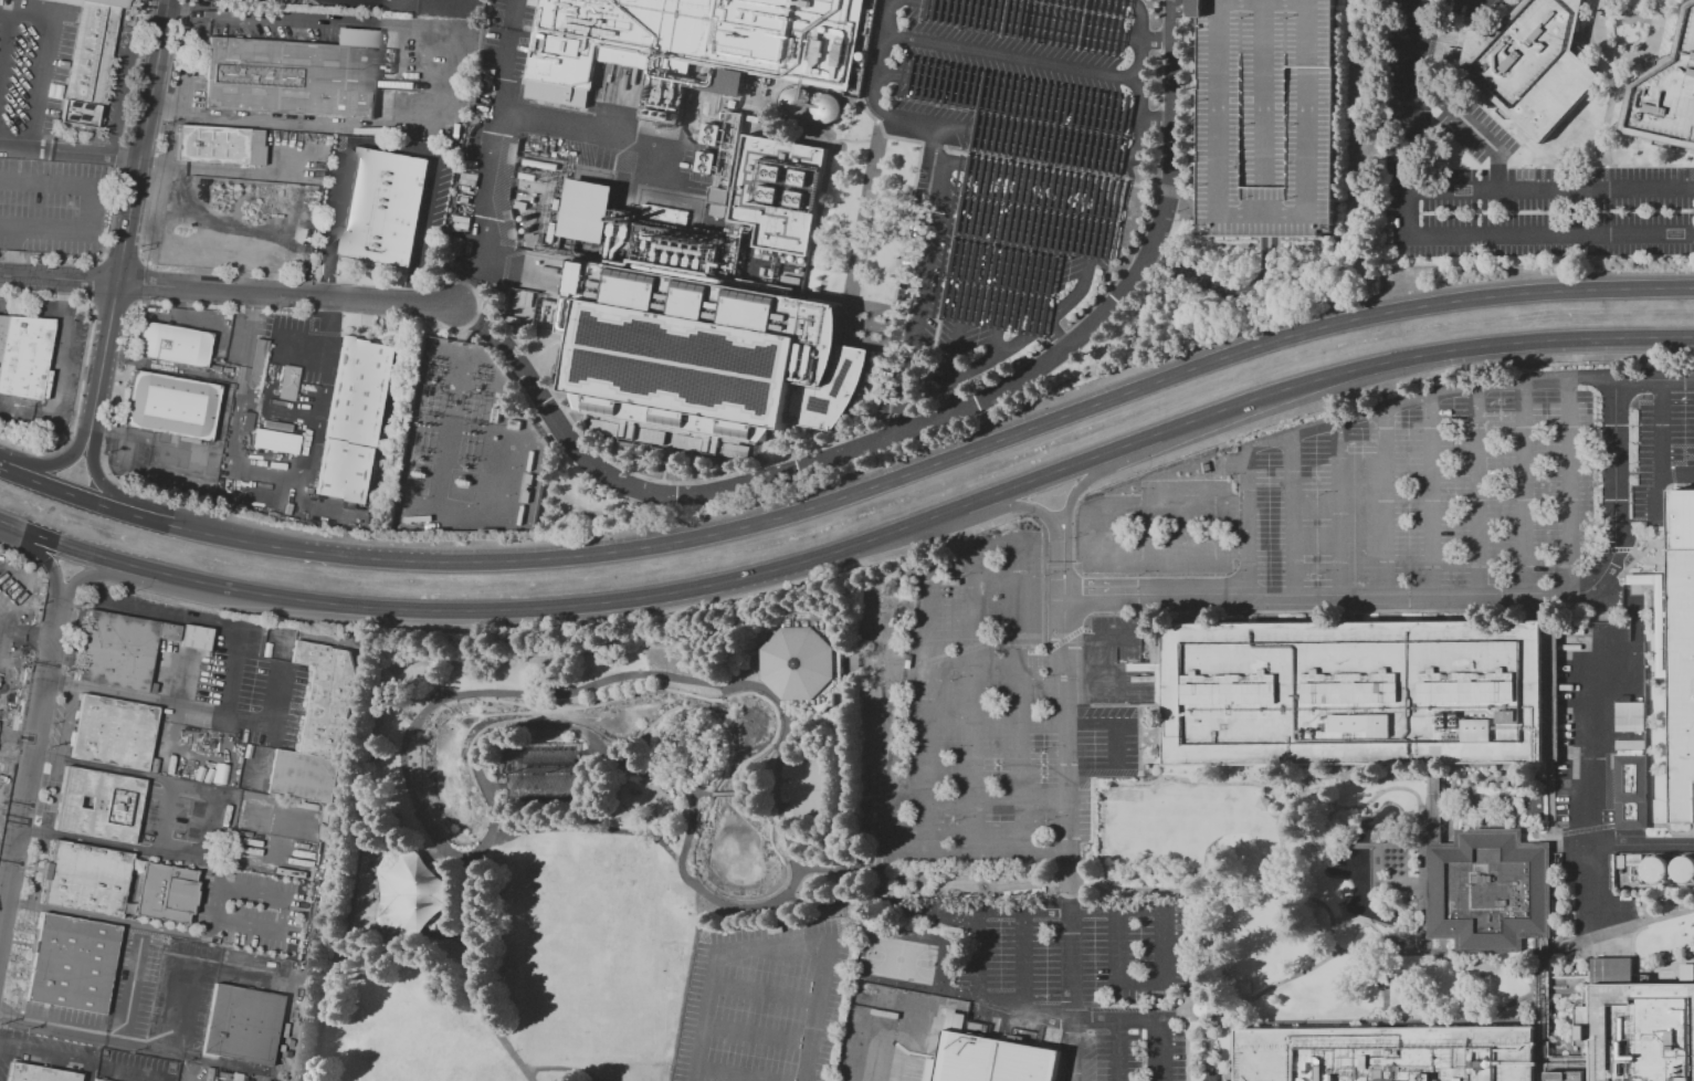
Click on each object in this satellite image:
building: (532, 2)
road: (373, 3)
road: (446, 7)
road: (181, 15)
road: (24, 18)
road: (1050, 22)
road: (196, 25)
building: (698, 41)
road: (4, 43)
road: (1628, 57)
building: (90, 59)
road: (1017, 61)
building: (1534, 63)
building: (291, 78)
road: (439, 83)
road: (39, 84)
building: (1666, 93)
road: (183, 94)
road: (1030, 98)
road: (166, 103)
parking lot: (1411, 111)
building: (1270, 117)
parking lot: (1270, 117)
road: (1604, 122)
road: (1470, 126)
road: (599, 133)
building: (709, 134)
road: (1034, 139)
road: (1622, 145)
building: (220, 146)
road: (390, 147)
road: (69, 149)
road: (1537, 154)
road: (490, 155)
building: (704, 161)
road: (1028, 165)
road: (214, 169)
road: (1002, 175)
parking lot: (1004, 176)
road: (1549, 189)
building: (780, 195)
building: (717, 201)
road: (867, 207)
road: (92, 208)
building: (383, 208)
building: (586, 211)
parking lot: (1556, 212)
road: (128, 214)
road: (1431, 235)
road: (1052, 260)
road: (1088, 260)
road: (1010, 274)
road: (970, 276)
road: (1221, 281)
road: (228, 291)
building: (523, 297)
road: (922, 301)
road: (324, 329)
building: (844, 329)
road: (60, 332)
road: (1060, 340)
building: (173, 346)
road: (1013, 355)
building: (24, 356)
building: (703, 360)
building: (256, 363)
road: (324, 370)
road: (75, 372)
building: (288, 382)
road: (1497, 386)
road: (956, 396)
building: (172, 407)
building: (354, 421)
road: (919, 426)
road: (1291, 440)
building: (274, 441)
road: (230, 443)
road: (976, 448)
power substation: (467, 449)
road: (1660, 449)
road: (52, 466)
road: (1677, 476)
road: (1092, 480)
road: (303, 483)
road: (1570, 484)
road: (1525, 487)
road: (1480, 491)
road: (1432, 495)
road: (1387, 502)
road: (150, 505)
road: (1211, 507)
road: (1010, 508)
road: (1339, 511)
road: (124, 512)
road: (1295, 517)
road: (853, 545)
road: (1145, 554)
road: (42, 558)
road: (113, 578)
road: (1477, 592)
building: (4, 596)
road: (119, 608)
building: (194, 638)
building: (276, 641)
building: (119, 650)
building: (1682, 652)
building: (806, 661)
road: (975, 662)
road: (631, 676)
road: (186, 688)
road: (1066, 691)
building: (1354, 692)
road: (227, 696)
road: (726, 697)
road: (978, 704)
road: (187, 707)
road: (930, 714)
road: (713, 715)
building: (1629, 715)
road: (1114, 721)
road: (493, 723)
road: (67, 724)
road: (537, 725)
building: (317, 727)
building: (113, 733)
road: (1592, 752)
road: (14, 753)
road: (44, 758)
road: (28, 759)
road: (3, 773)
road: (116, 773)
road: (3, 791)
building: (1630, 791)
road: (724, 793)
road: (738, 793)
road: (53, 797)
building: (98, 805)
road: (532, 828)
park: (578, 836)
road: (1643, 841)
road: (87, 842)
road: (462, 847)
track: (580, 847)
road: (1046, 852)
road: (908, 854)
road: (158, 857)
road: (438, 862)
road: (217, 873)
road: (683, 875)
building: (86, 879)
building: (1488, 890)
building: (408, 891)
building: (165, 894)
road: (450, 902)
road: (1117, 909)
road: (217, 921)
road: (114, 922)
road: (407, 946)
road: (825, 954)
road: (1024, 961)
building: (72, 964)
road: (1072, 966)
building: (1686, 973)
road: (770, 974)
road: (131, 990)
road: (711, 1010)
road: (764, 1012)
road: (1052, 1017)
building: (242, 1025)
building: (1634, 1035)
road: (128, 1041)
road: (756, 1051)
road: (1119, 1051)
road: (48, 1053)
road: (881, 1053)
building: (1389, 1054)
building: (991, 1060)
road: (551, 1068)
road: (131, 1070)
road: (87, 1071)
building: (38, 1073)
road: (596, 1079)
building: (97, 1080)

